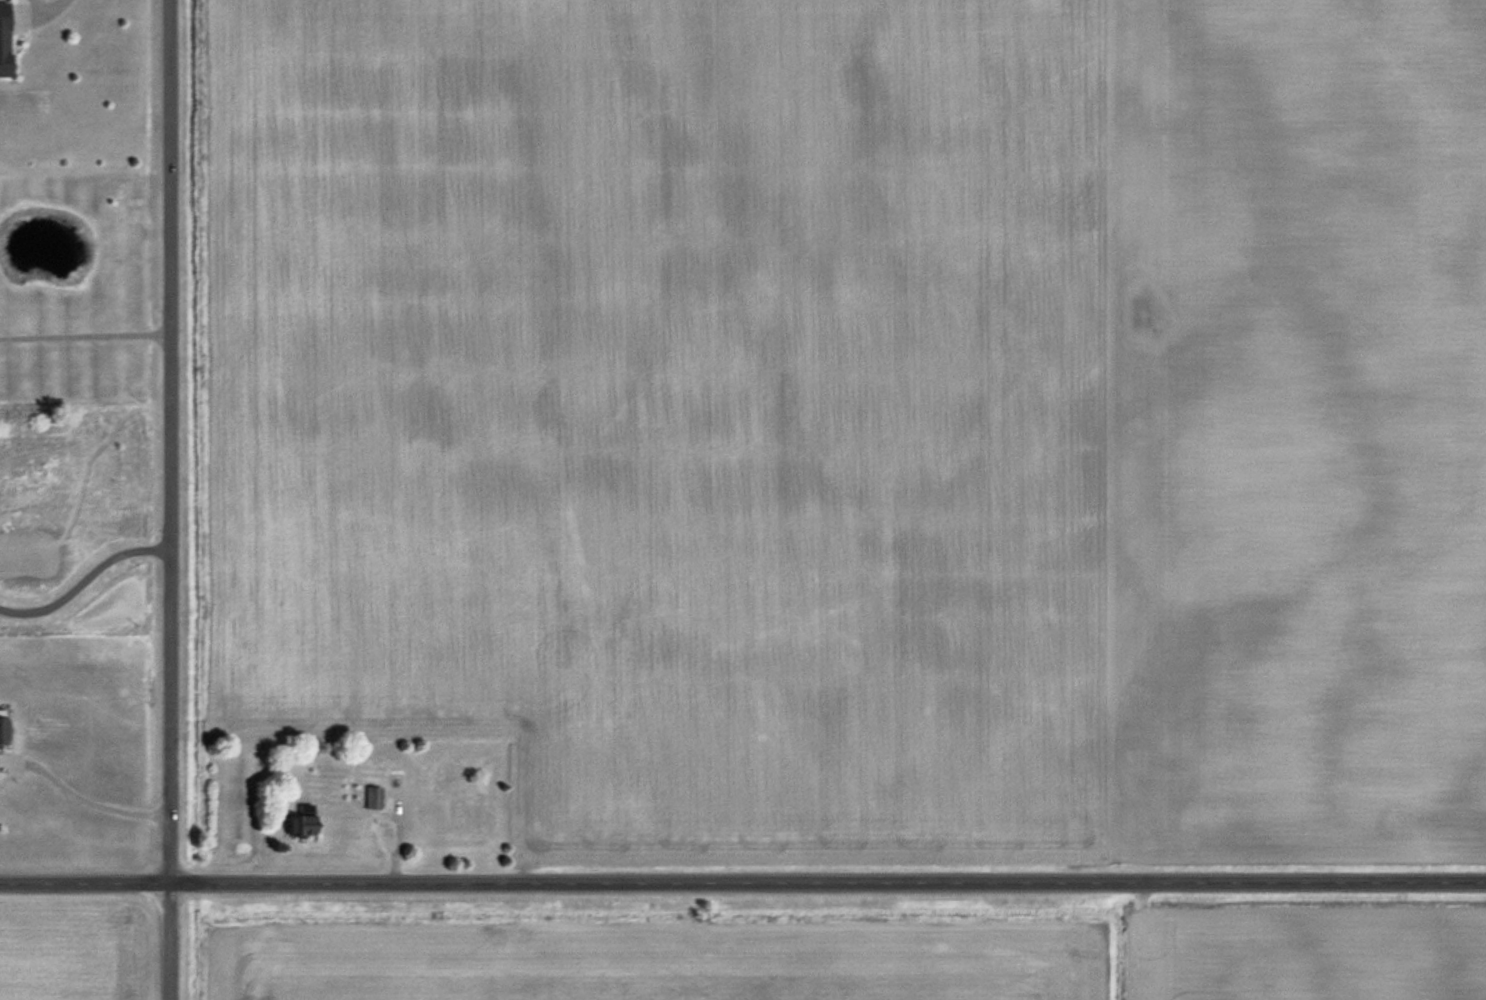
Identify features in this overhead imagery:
road: (41, 2)
building: (3, 39)
road: (84, 336)
road: (168, 500)
road: (83, 577)
building: (2, 728)
building: (451, 775)
building: (372, 798)
road: (93, 801)
road: (400, 815)
building: (300, 823)
road: (742, 883)

